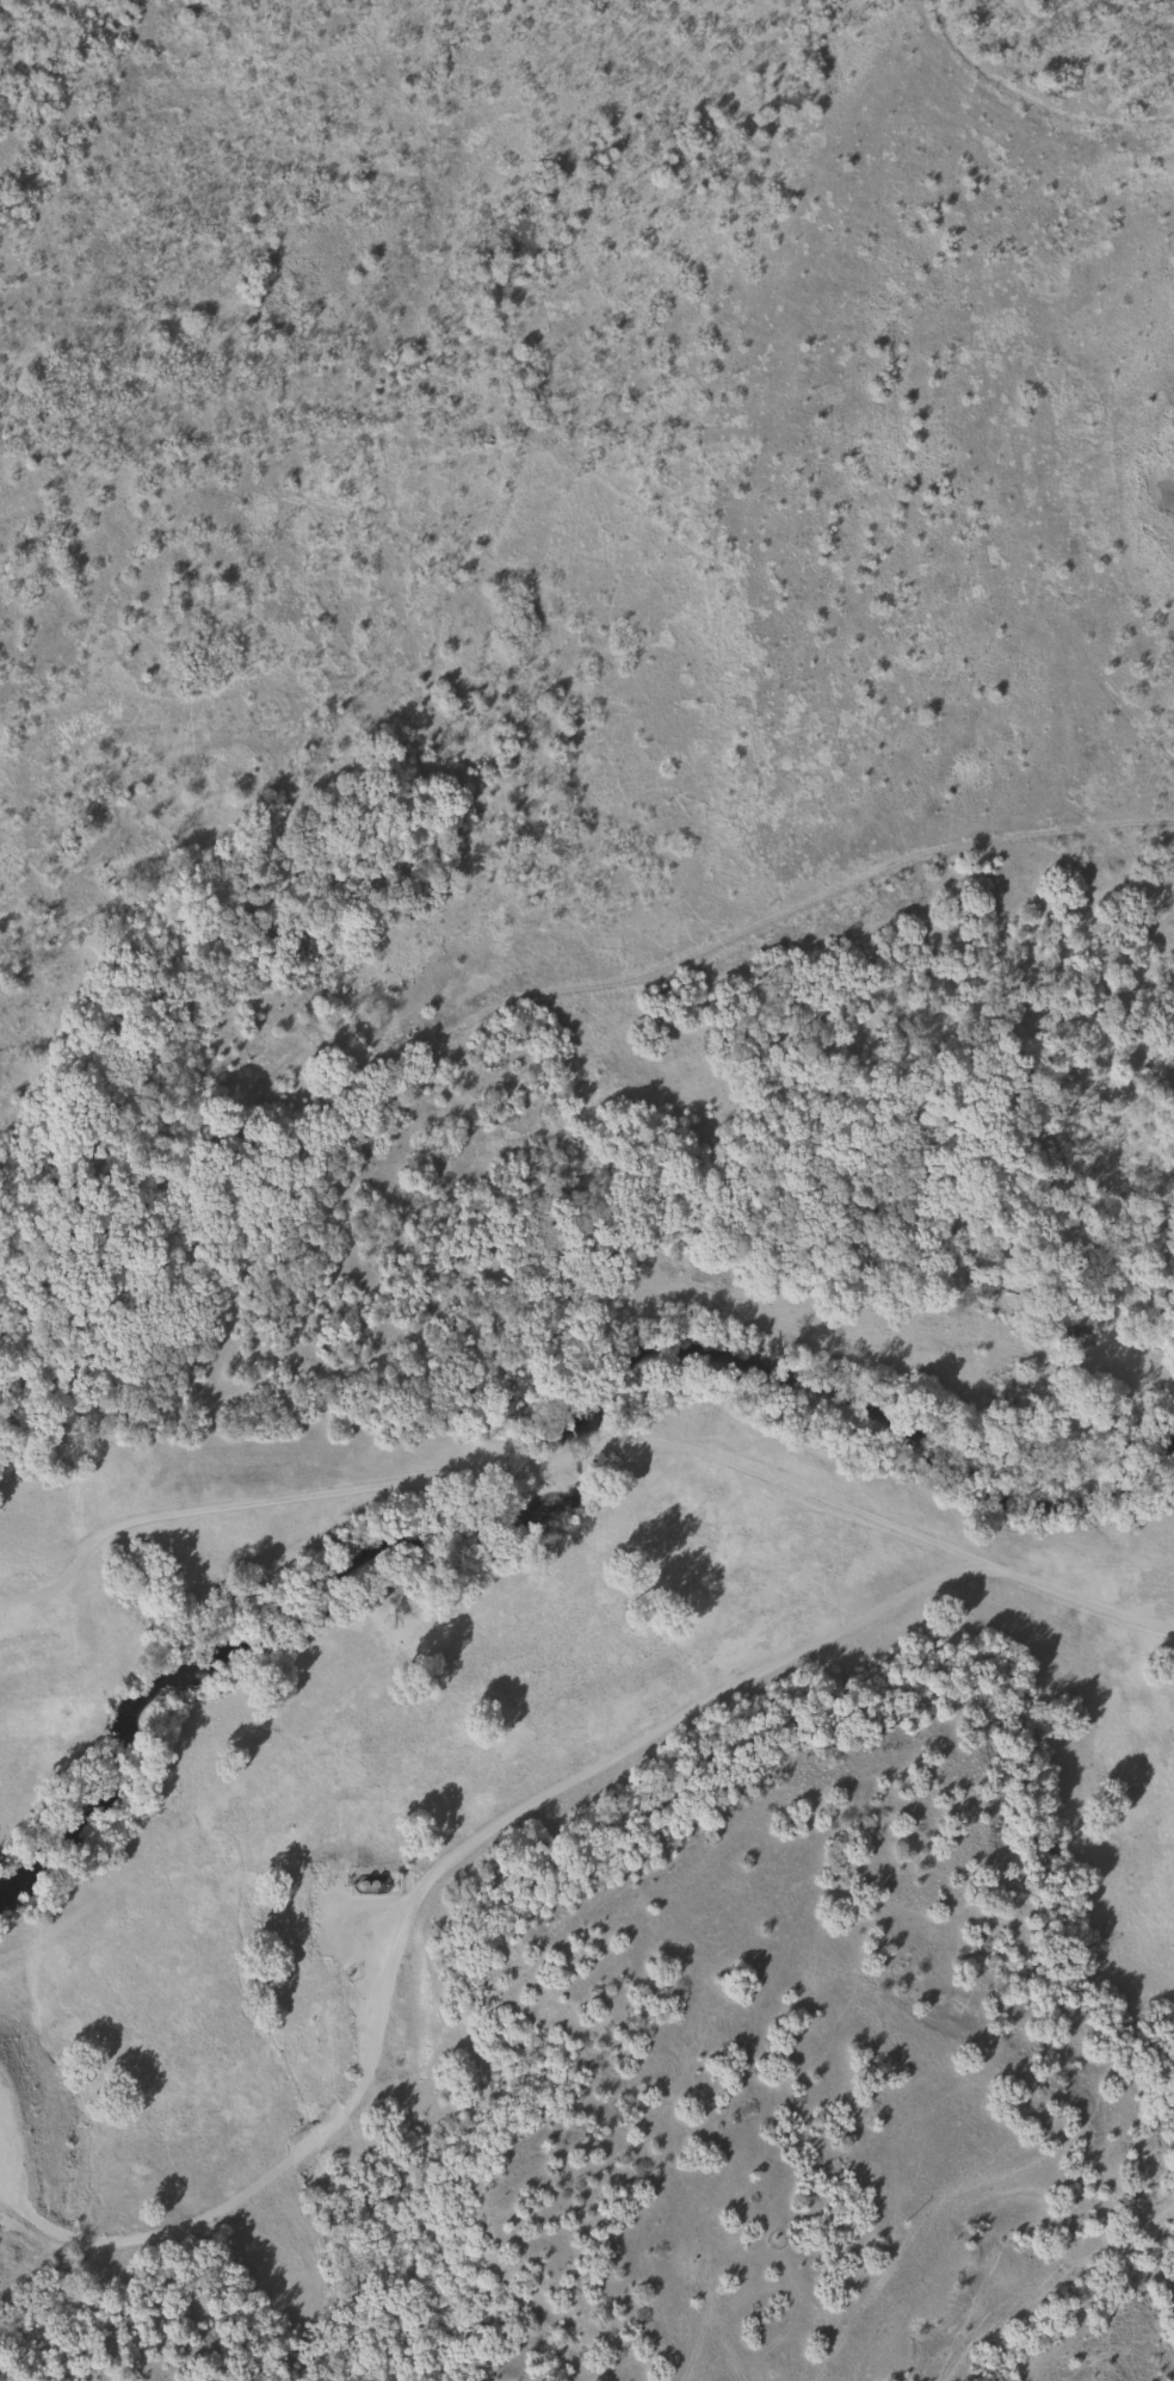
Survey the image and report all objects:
road: (503, 1823)

